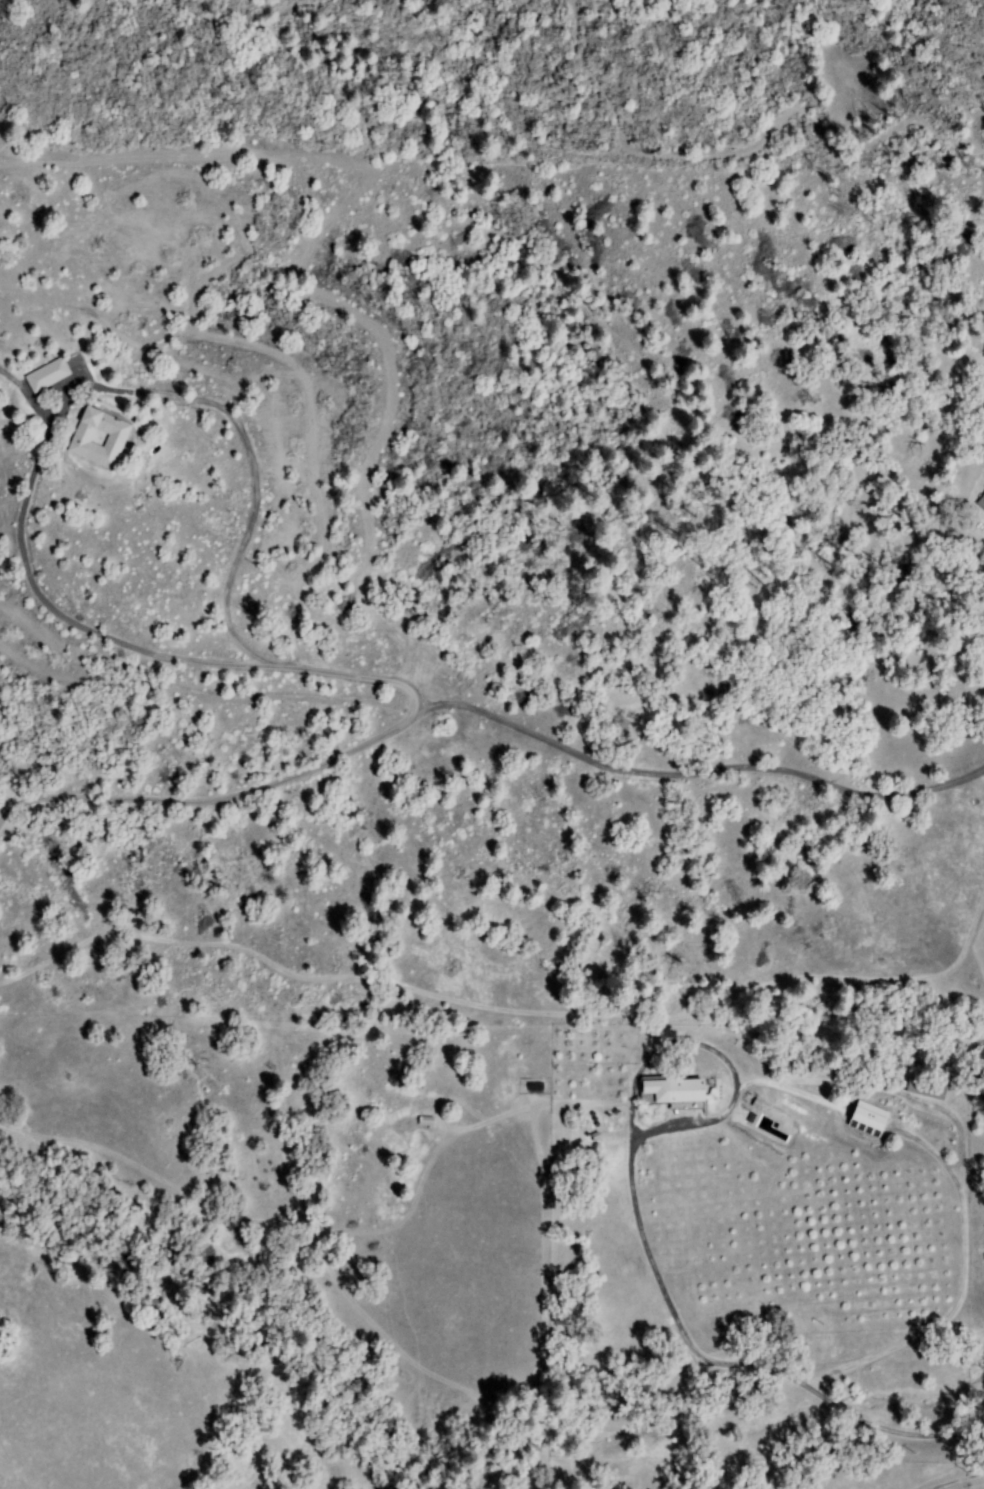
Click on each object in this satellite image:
road: (631, 133)
building: (36, 375)
building: (49, 376)
building: (80, 438)
building: (101, 438)
building: (982, 503)
road: (370, 517)
road: (44, 585)
road: (401, 684)
road: (499, 1006)
road: (611, 1040)
building: (686, 1096)
building: (869, 1121)
road: (612, 1128)
road: (959, 1481)

